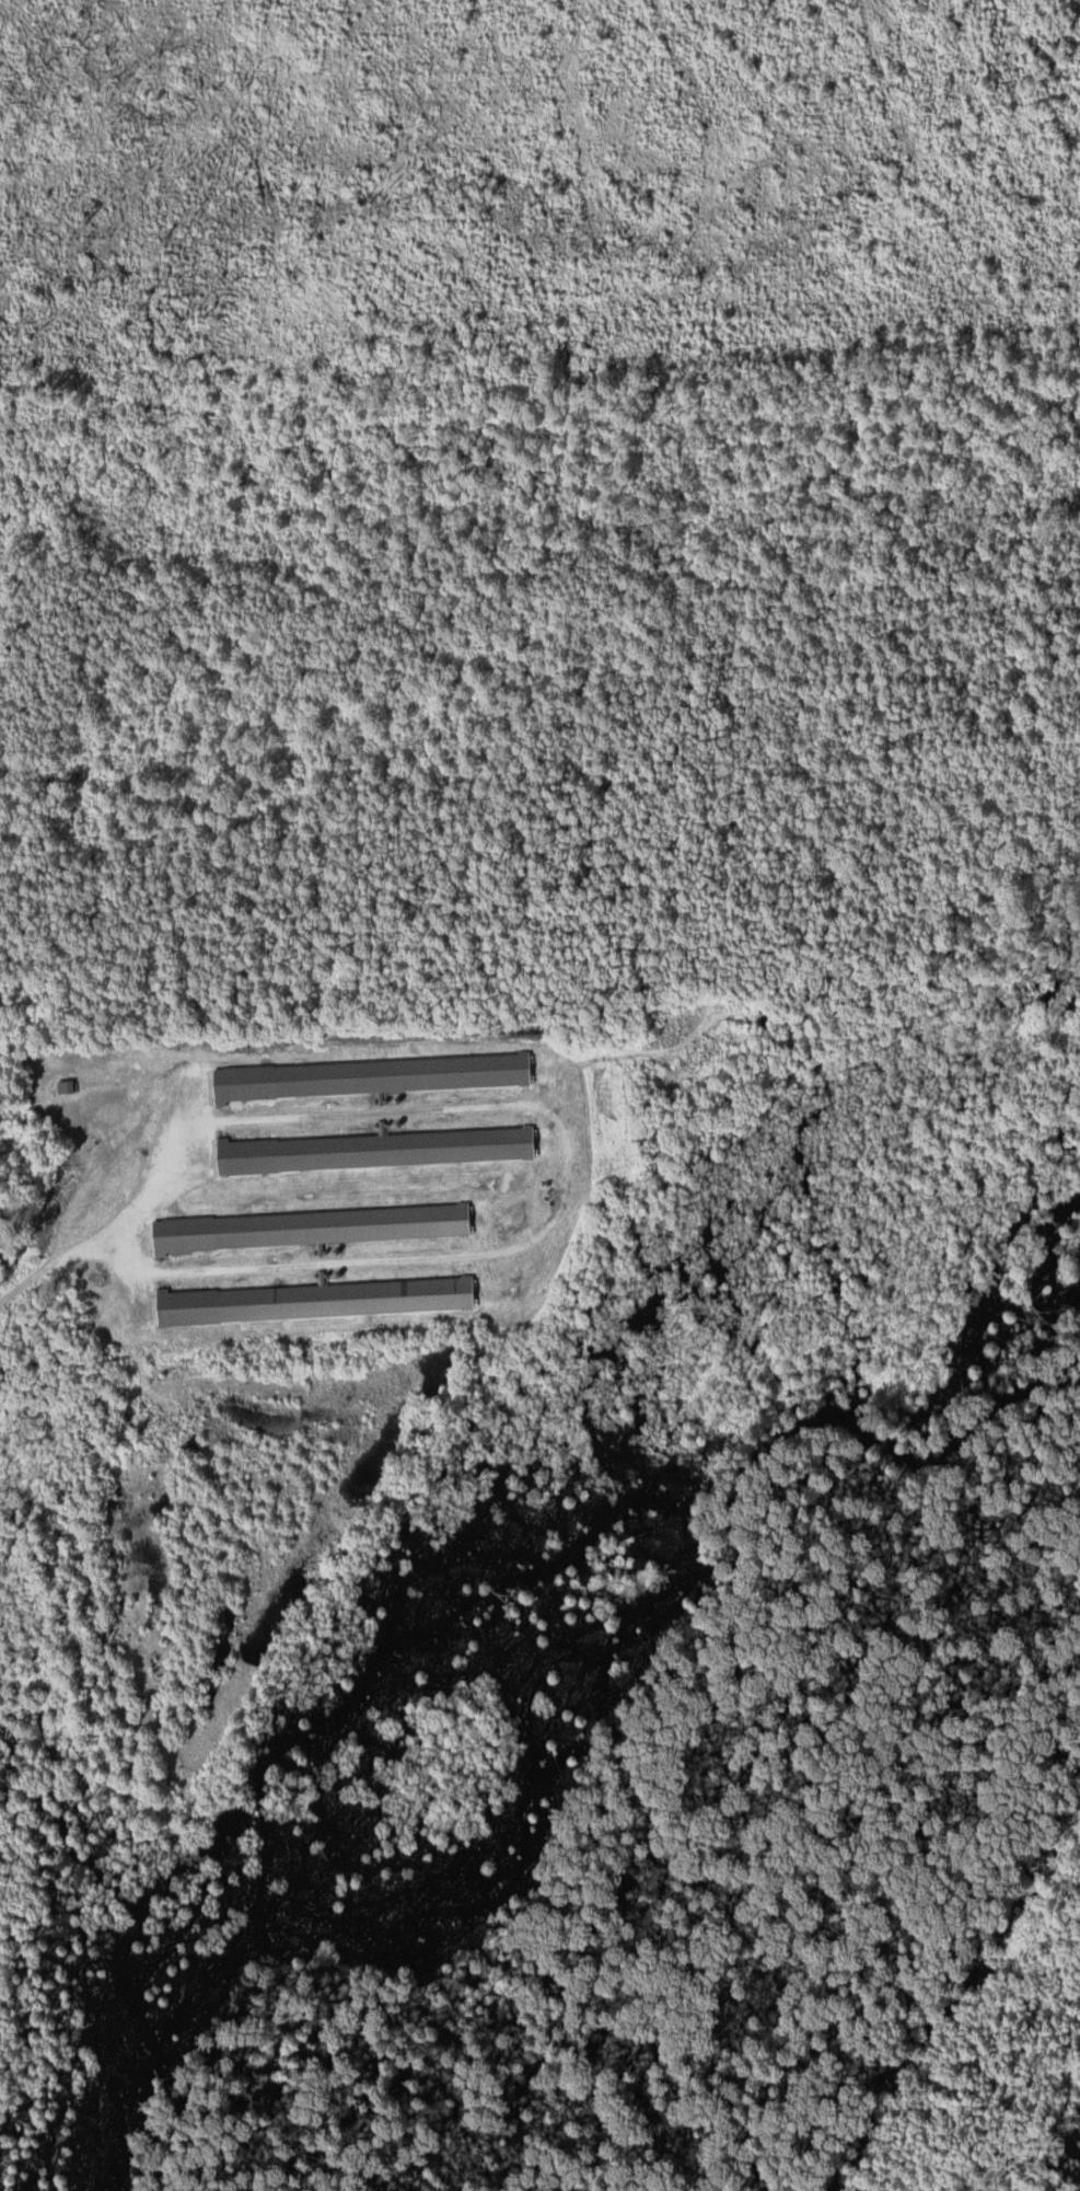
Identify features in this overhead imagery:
building: (369, 1076)
building: (65, 1086)
building: (373, 1150)
building: (310, 1227)
building: (313, 1301)
river: (899, 1945)

